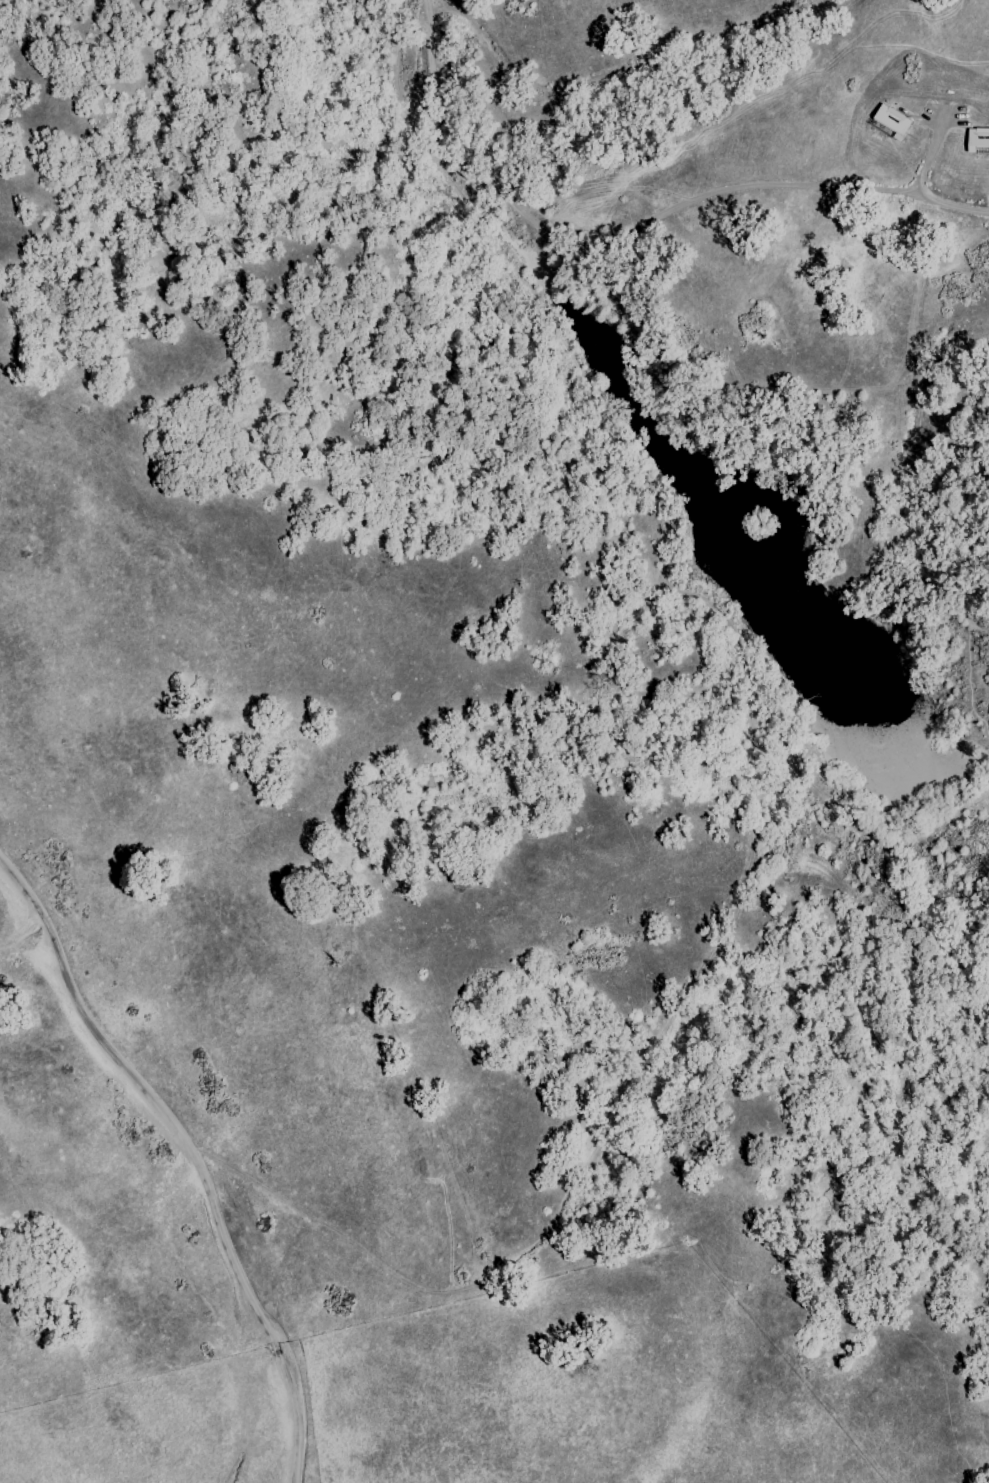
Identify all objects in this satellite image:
building: (888, 122)
building: (975, 140)
road: (634, 226)
road: (193, 1154)

